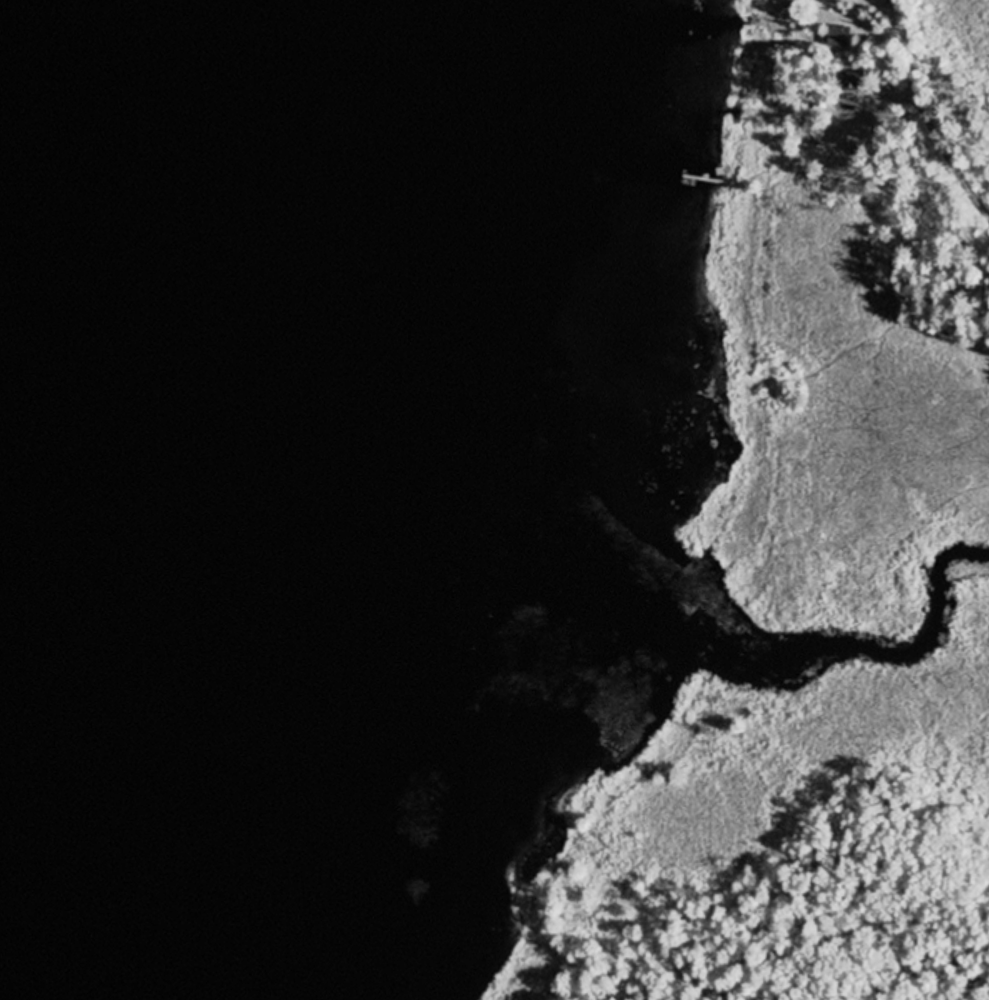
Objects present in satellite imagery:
building: (895, 1)
building: (835, 34)
road: (942, 156)

